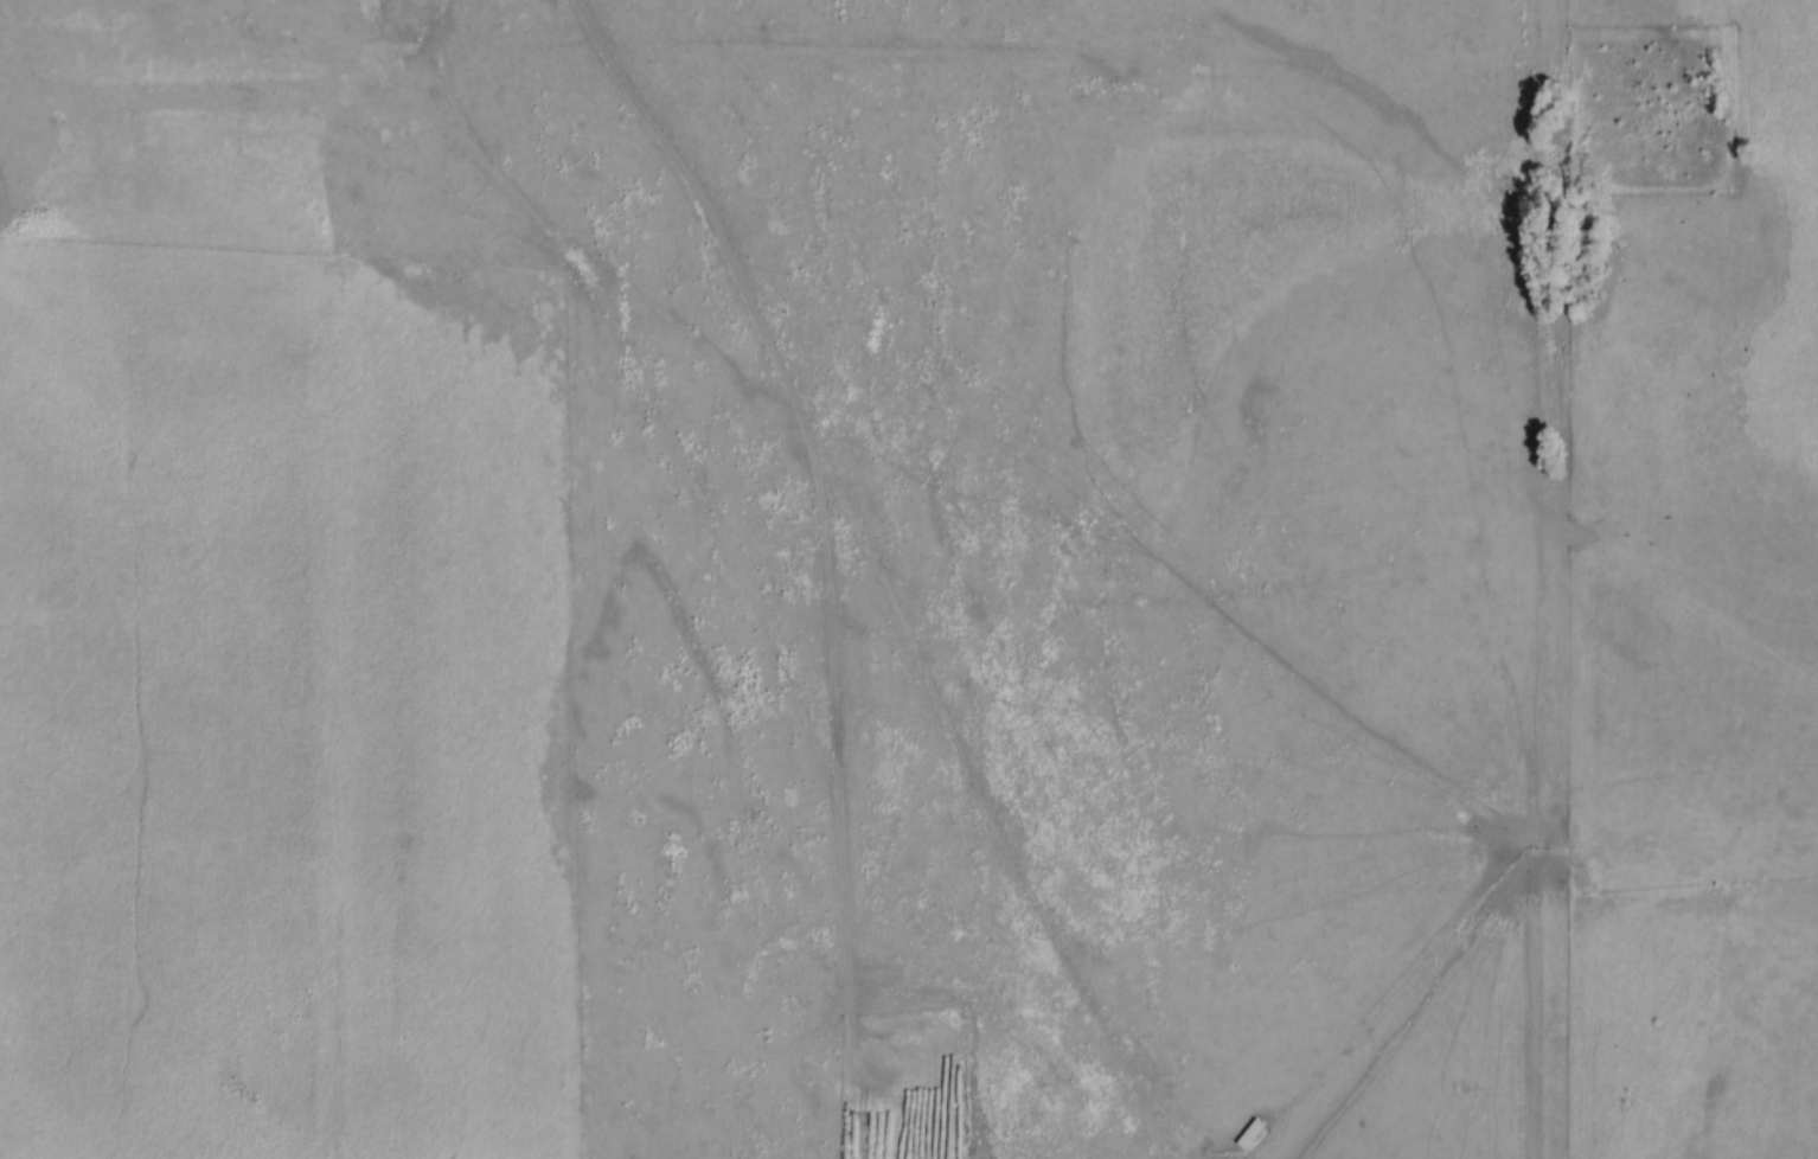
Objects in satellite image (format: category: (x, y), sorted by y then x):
building: (1250, 1132)

